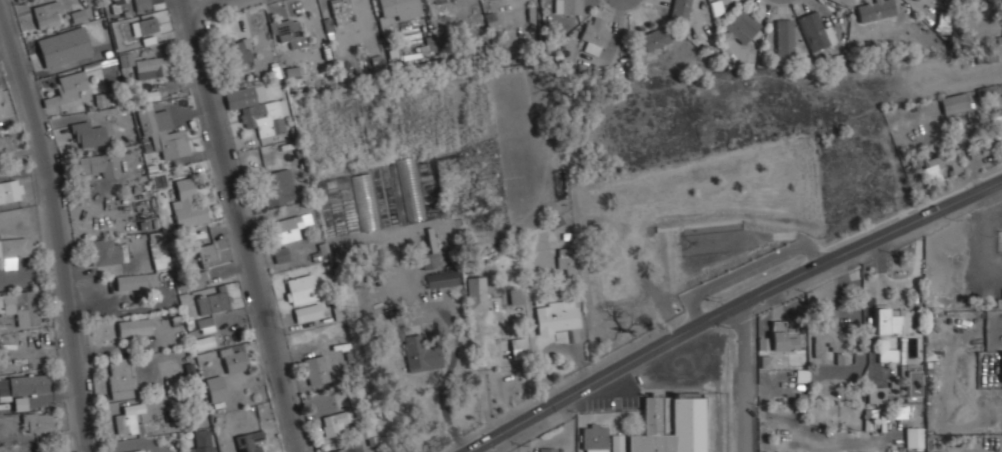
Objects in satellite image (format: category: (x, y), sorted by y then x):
building: (437, 0)
building: (917, 0)
road: (202, 4)
building: (142, 5)
building: (569, 6)
building: (716, 7)
building: (680, 10)
building: (875, 10)
building: (340, 11)
building: (396, 11)
building: (48, 14)
building: (78, 16)
building: (743, 25)
building: (286, 30)
building: (817, 30)
building: (152, 31)
building: (594, 35)
building: (785, 37)
building: (655, 38)
building: (64, 46)
building: (238, 54)
building: (986, 56)
building: (126, 59)
building: (153, 67)
building: (67, 88)
building: (987, 90)
building: (101, 100)
building: (955, 102)
building: (2, 110)
building: (257, 110)
building: (998, 129)
building: (162, 132)
building: (89, 135)
building: (6, 143)
building: (100, 164)
building: (939, 166)
building: (277, 187)
building: (410, 189)
building: (11, 191)
building: (365, 202)
building: (187, 204)
road: (831, 208)
road: (62, 222)
road: (243, 225)
building: (289, 227)
building: (14, 250)
building: (106, 251)
building: (321, 252)
building: (430, 252)
building: (159, 253)
building: (207, 255)
building: (281, 255)
building: (564, 260)
building: (196, 277)
building: (442, 279)
building: (135, 281)
road: (663, 283)
building: (300, 289)
building: (477, 293)
building: (515, 296)
building: (212, 301)
building: (999, 303)
building: (20, 307)
road: (731, 308)
building: (308, 313)
building: (557, 315)
building: (891, 320)
building: (205, 325)
building: (134, 327)
building: (785, 337)
building: (831, 339)
building: (205, 343)
building: (518, 348)
building: (420, 350)
building: (888, 355)
building: (234, 360)
building: (766, 361)
building: (316, 369)
building: (1001, 375)
building: (121, 378)
road: (740, 378)
building: (912, 383)
building: (23, 388)
building: (216, 388)
building: (877, 395)
building: (689, 415)
building: (127, 418)
building: (38, 422)
building: (335, 422)
building: (915, 437)
building: (594, 438)
building: (249, 441)
building: (200, 442)
building: (617, 443)
building: (351, 448)
building: (548, 450)
building: (134, 451)

